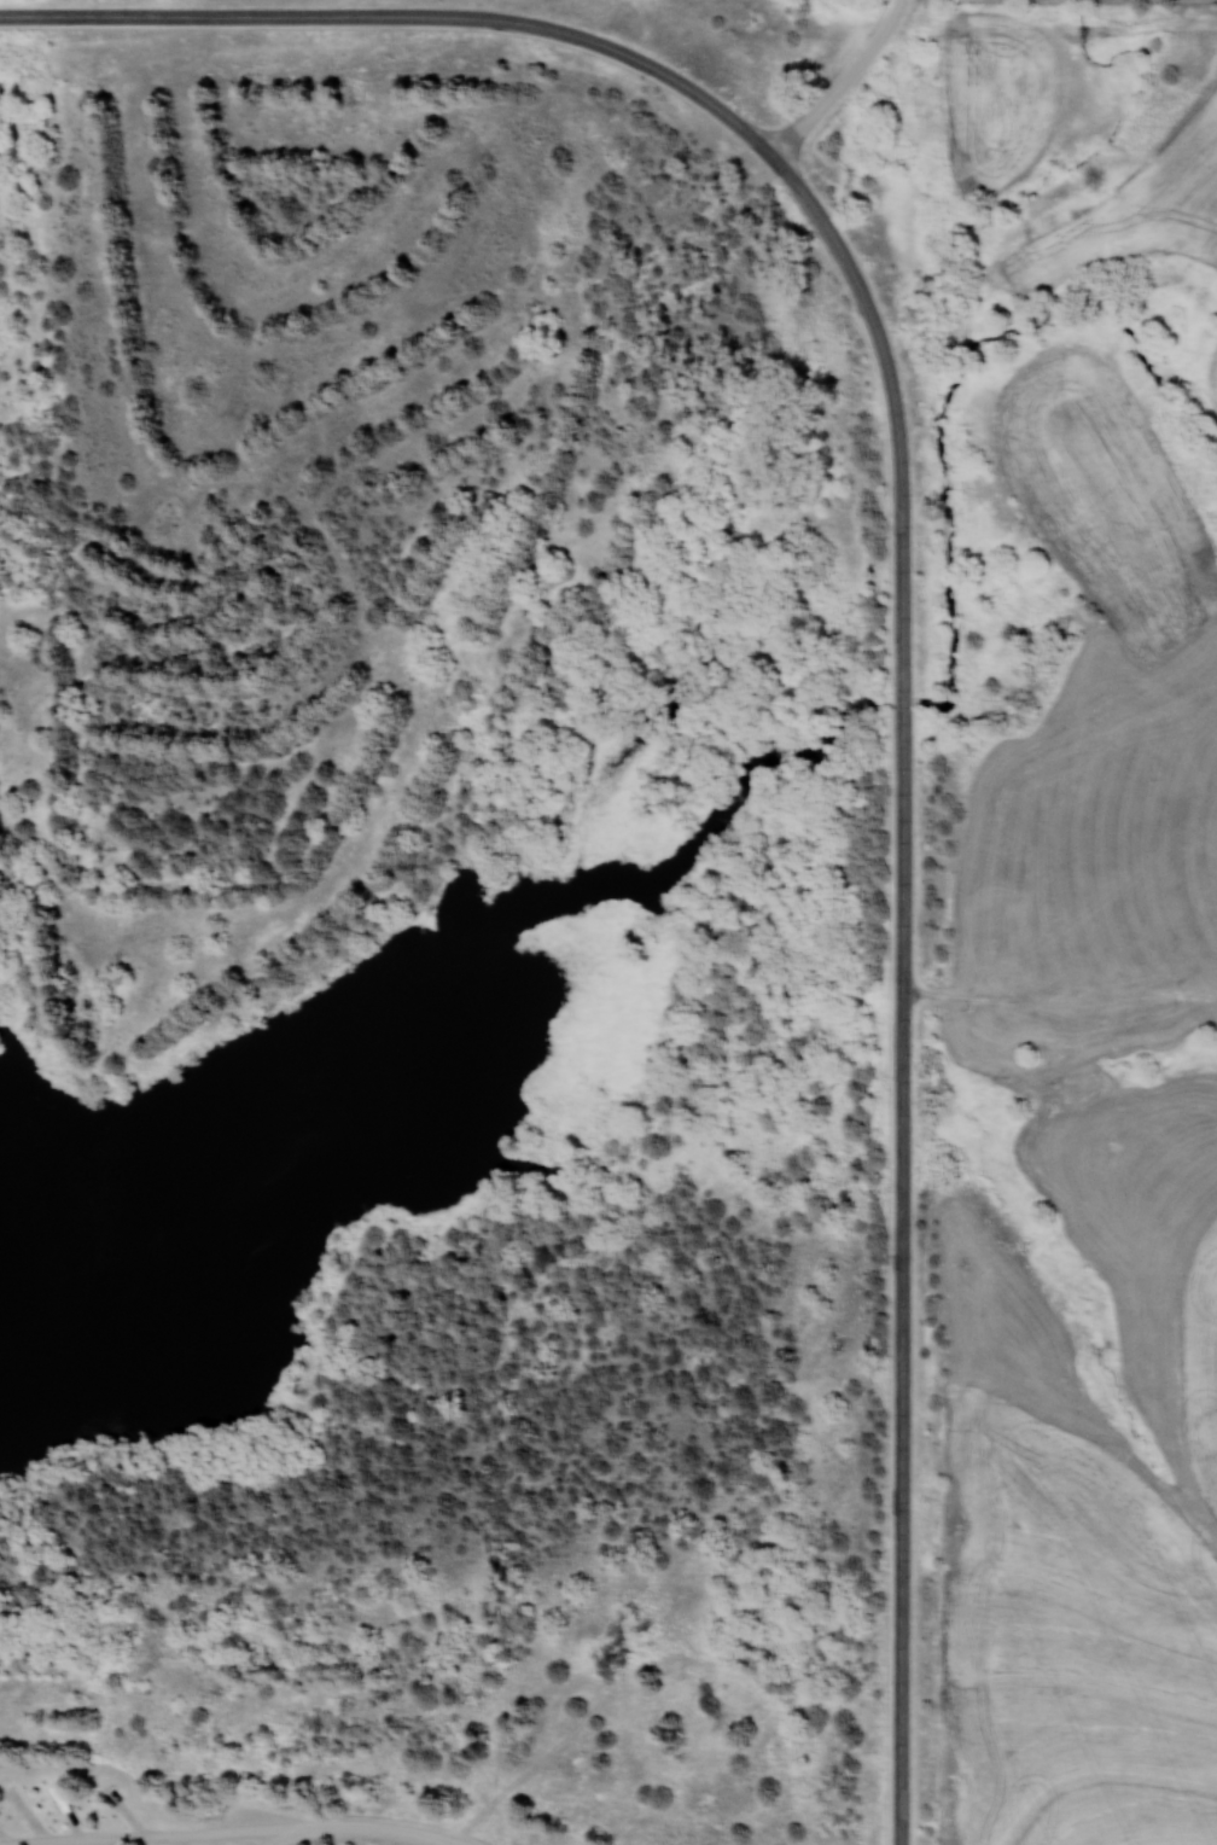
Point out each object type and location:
road: (229, 17)
road: (628, 57)
road: (848, 83)
road: (869, 302)
park: (454, 929)
road: (908, 1158)
road: (355, 1828)
road: (229, 1833)
road: (94, 1837)

